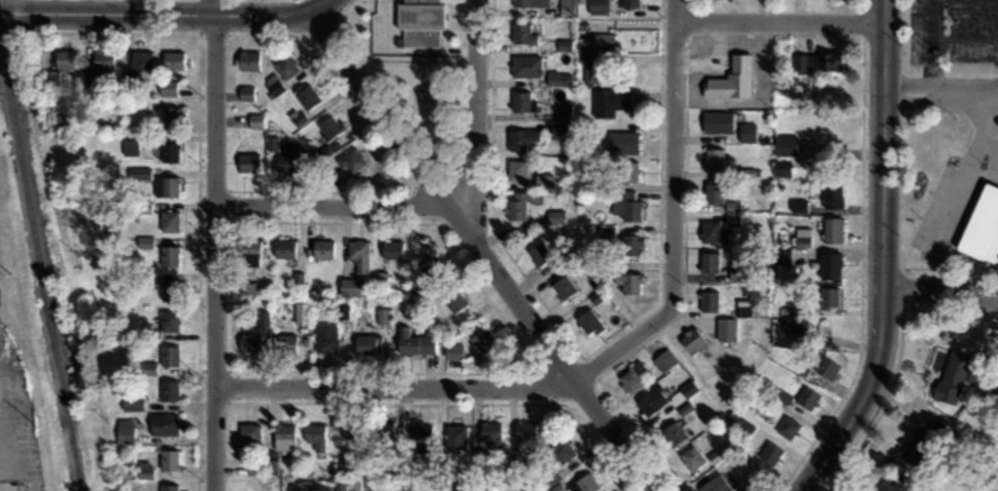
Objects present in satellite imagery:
building: (629, 2)
building: (529, 3)
road: (319, 6)
building: (598, 6)
building: (567, 7)
road: (156, 13)
building: (423, 17)
road: (934, 21)
road: (778, 22)
parking lot: (953, 28)
building: (523, 32)
building: (565, 44)
road: (966, 44)
road: (882, 53)
building: (588, 58)
building: (65, 59)
building: (104, 59)
building: (173, 59)
building: (141, 60)
building: (248, 60)
building: (819, 61)
building: (526, 65)
building: (286, 66)
road: (933, 68)
building: (558, 78)
power tower: (43, 79)
building: (275, 86)
building: (168, 87)
building: (718, 87)
building: (246, 92)
road: (930, 93)
building: (306, 95)
road: (964, 98)
building: (520, 100)
building: (609, 100)
road: (997, 103)
road: (997, 104)
building: (564, 110)
building: (169, 116)
building: (256, 120)
building: (716, 121)
road: (475, 124)
building: (327, 132)
building: (747, 132)
building: (521, 137)
building: (622, 141)
building: (130, 143)
building: (785, 144)
building: (170, 151)
building: (714, 158)
building: (352, 160)
building: (249, 162)
building: (287, 162)
building: (781, 168)
power tower: (62, 169)
building: (516, 170)
building: (627, 170)
road: (964, 178)
building: (544, 180)
building: (166, 185)
building: (713, 192)
building: (832, 195)
building: (626, 204)
building: (517, 206)
building: (732, 206)
road: (333, 211)
road: (671, 215)
building: (556, 217)
building: (169, 220)
building: (982, 226)
building: (832, 229)
building: (606, 231)
building: (712, 232)
building: (633, 244)
road: (215, 245)
building: (249, 248)
building: (284, 248)
building: (322, 249)
building: (391, 249)
road: (479, 253)
building: (539, 253)
building: (359, 254)
building: (168, 255)
power tower: (78, 257)
building: (709, 262)
building: (430, 265)
building: (830, 265)
railway: (39, 270)
building: (738, 271)
power tower: (11, 274)
building: (381, 280)
building: (629, 282)
building: (349, 286)
building: (247, 287)
building: (563, 287)
building: (168, 289)
road: (941, 290)
building: (829, 296)
building: (454, 299)
building: (709, 300)
building: (342, 310)
road: (882, 310)
building: (301, 312)
building: (382, 315)
building: (263, 317)
building: (169, 320)
building: (589, 323)
building: (799, 327)
building: (726, 329)
building: (481, 337)
building: (326, 339)
building: (693, 340)
building: (414, 342)
building: (249, 343)
building: (286, 343)
building: (368, 343)
building: (453, 350)
building: (168, 354)
building: (665, 359)
building: (826, 367)
building: (632, 377)
building: (953, 377)
road: (393, 385)
building: (168, 389)
building: (808, 398)
building: (652, 400)
building: (131, 403)
building: (163, 424)
building: (739, 424)
building: (788, 427)
power tower: (41, 428)
building: (353, 429)
building: (383, 429)
building: (124, 430)
building: (526, 430)
building: (249, 432)
building: (673, 433)
building: (315, 435)
building: (492, 435)
building: (283, 436)
building: (457, 436)
building: (422, 437)
building: (923, 442)
building: (563, 450)
building: (771, 453)
building: (717, 455)
building: (692, 458)
building: (168, 459)
building: (344, 465)
building: (144, 469)
building: (551, 477)
building: (355, 484)
building: (716, 484)
building: (303, 485)
building: (340, 485)
building: (439, 485)

